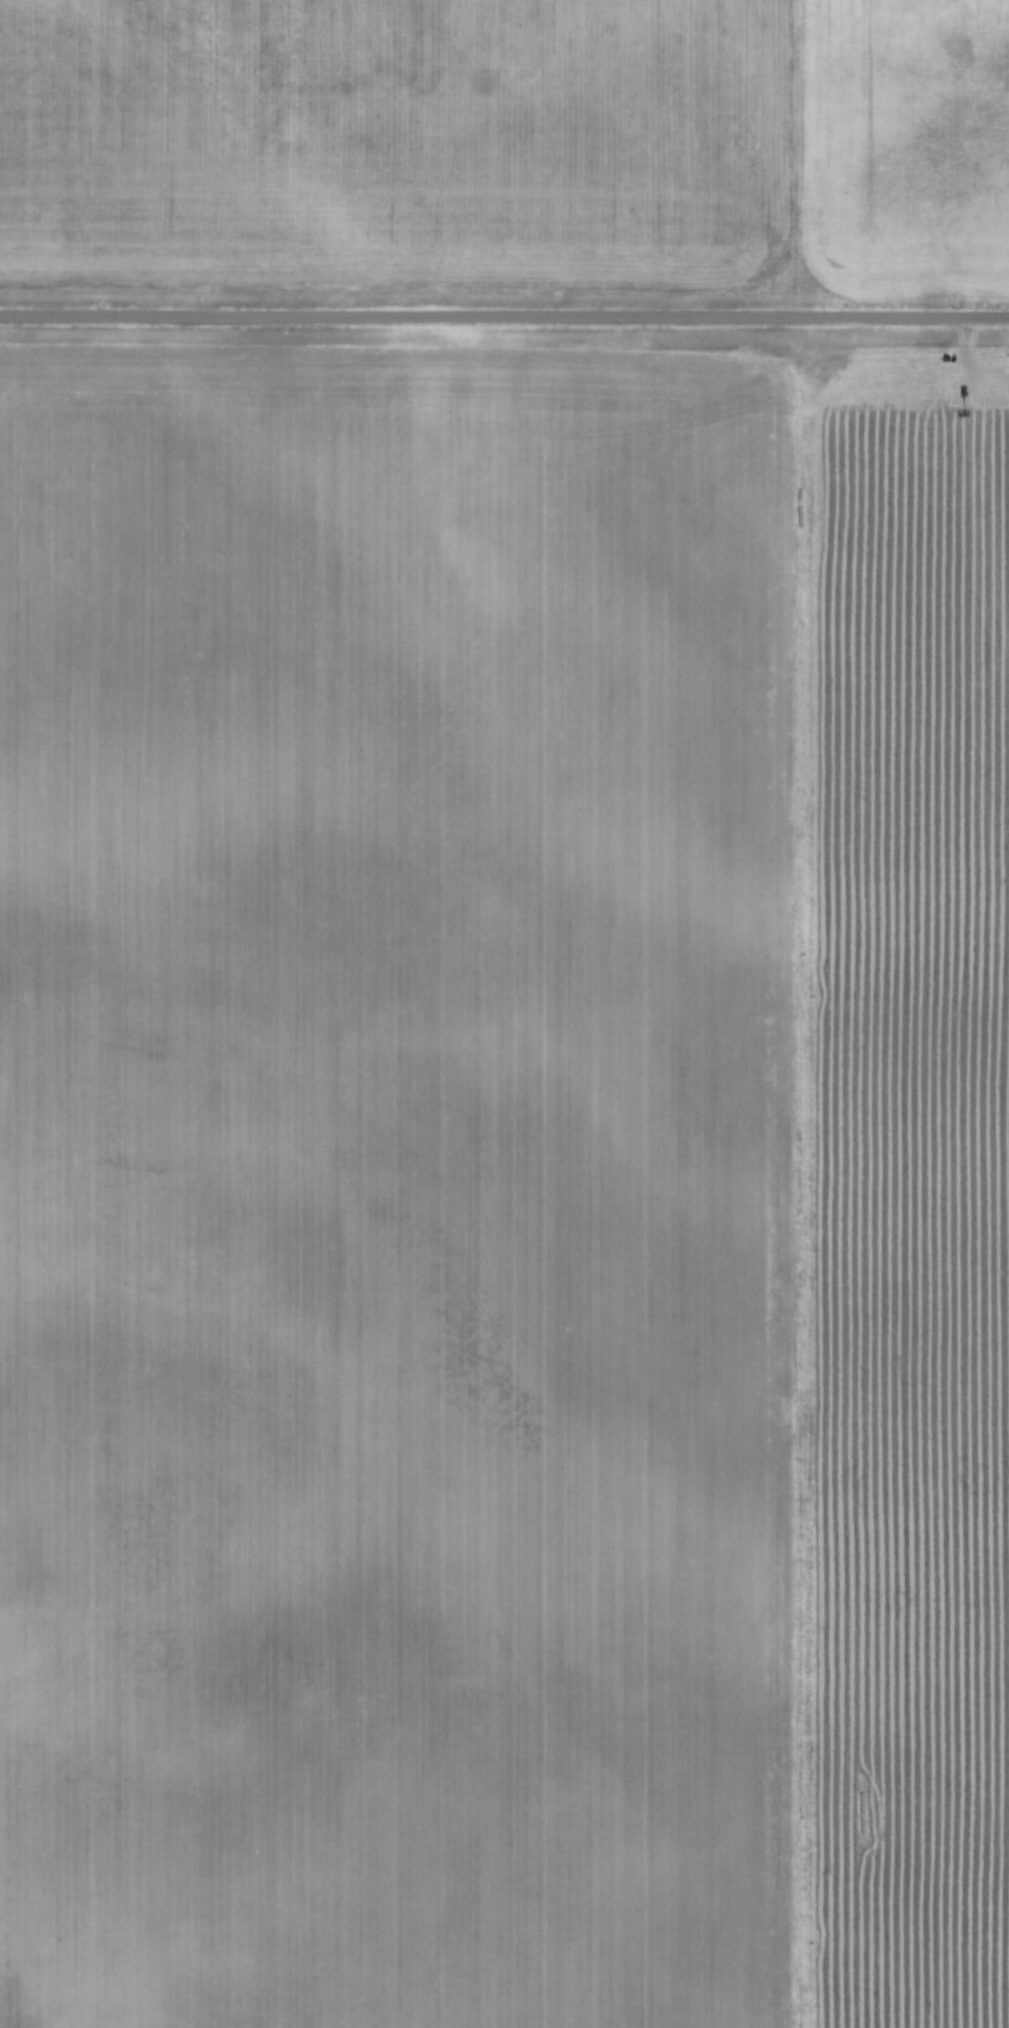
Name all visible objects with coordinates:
road: (504, 319)

